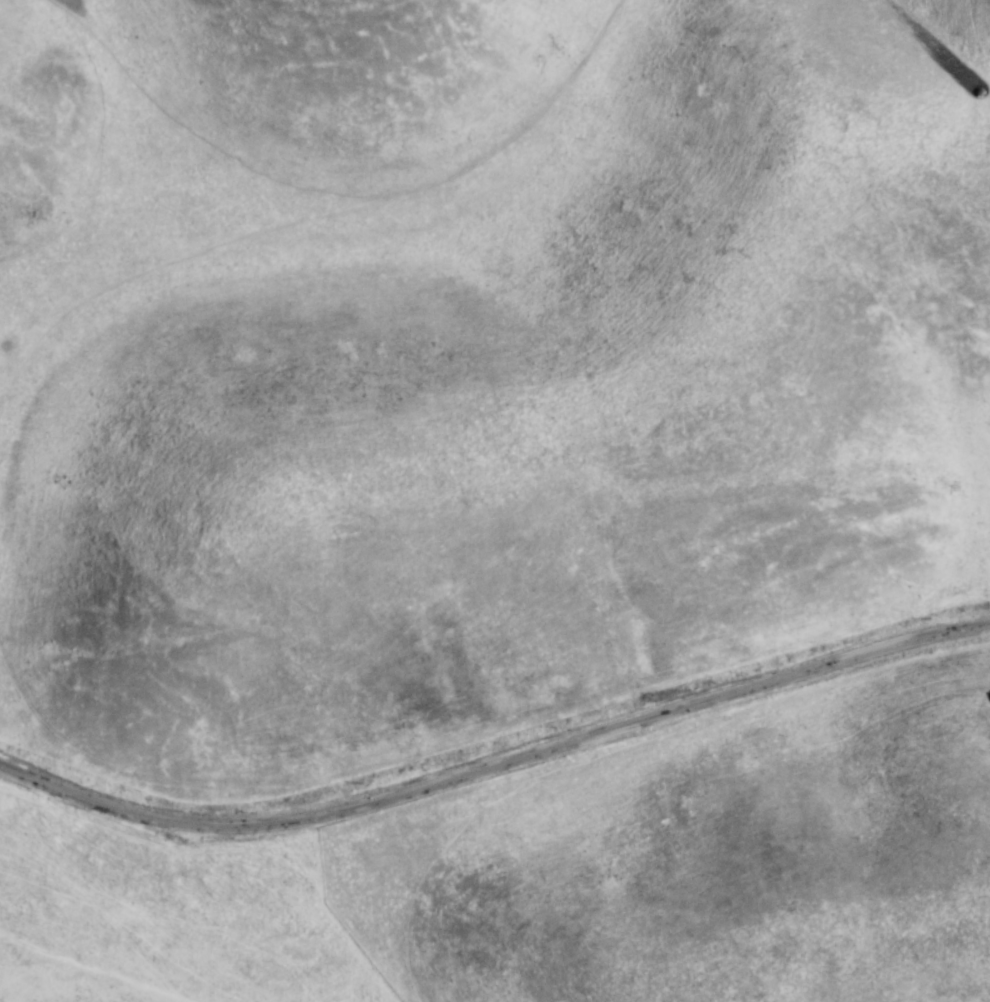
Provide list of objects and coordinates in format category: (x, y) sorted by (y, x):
road: (494, 758)

